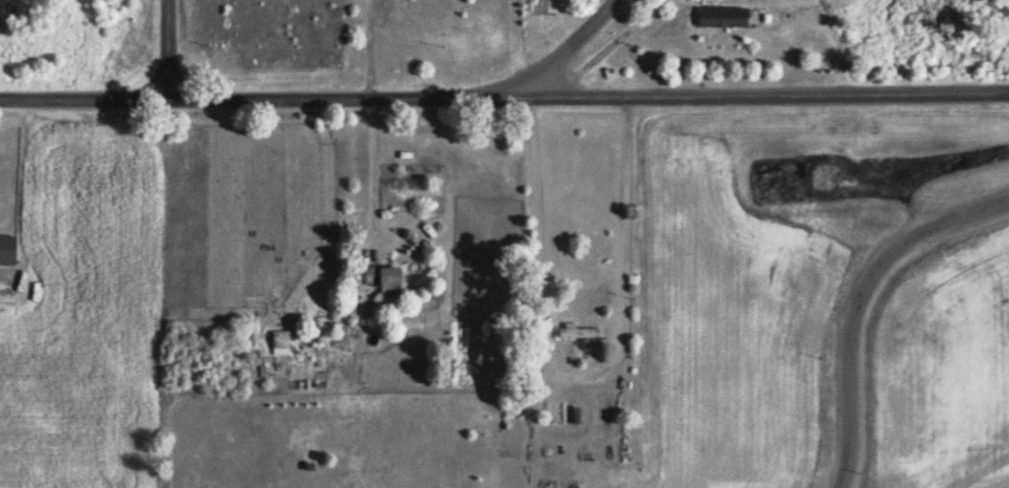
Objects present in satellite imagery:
building: (723, 18)
road: (512, 41)
road: (170, 51)
road: (366, 52)
road: (547, 65)
road: (504, 105)
road: (374, 176)
building: (8, 251)
building: (386, 280)
road: (859, 300)
building: (578, 334)
building: (281, 344)
road: (584, 381)

